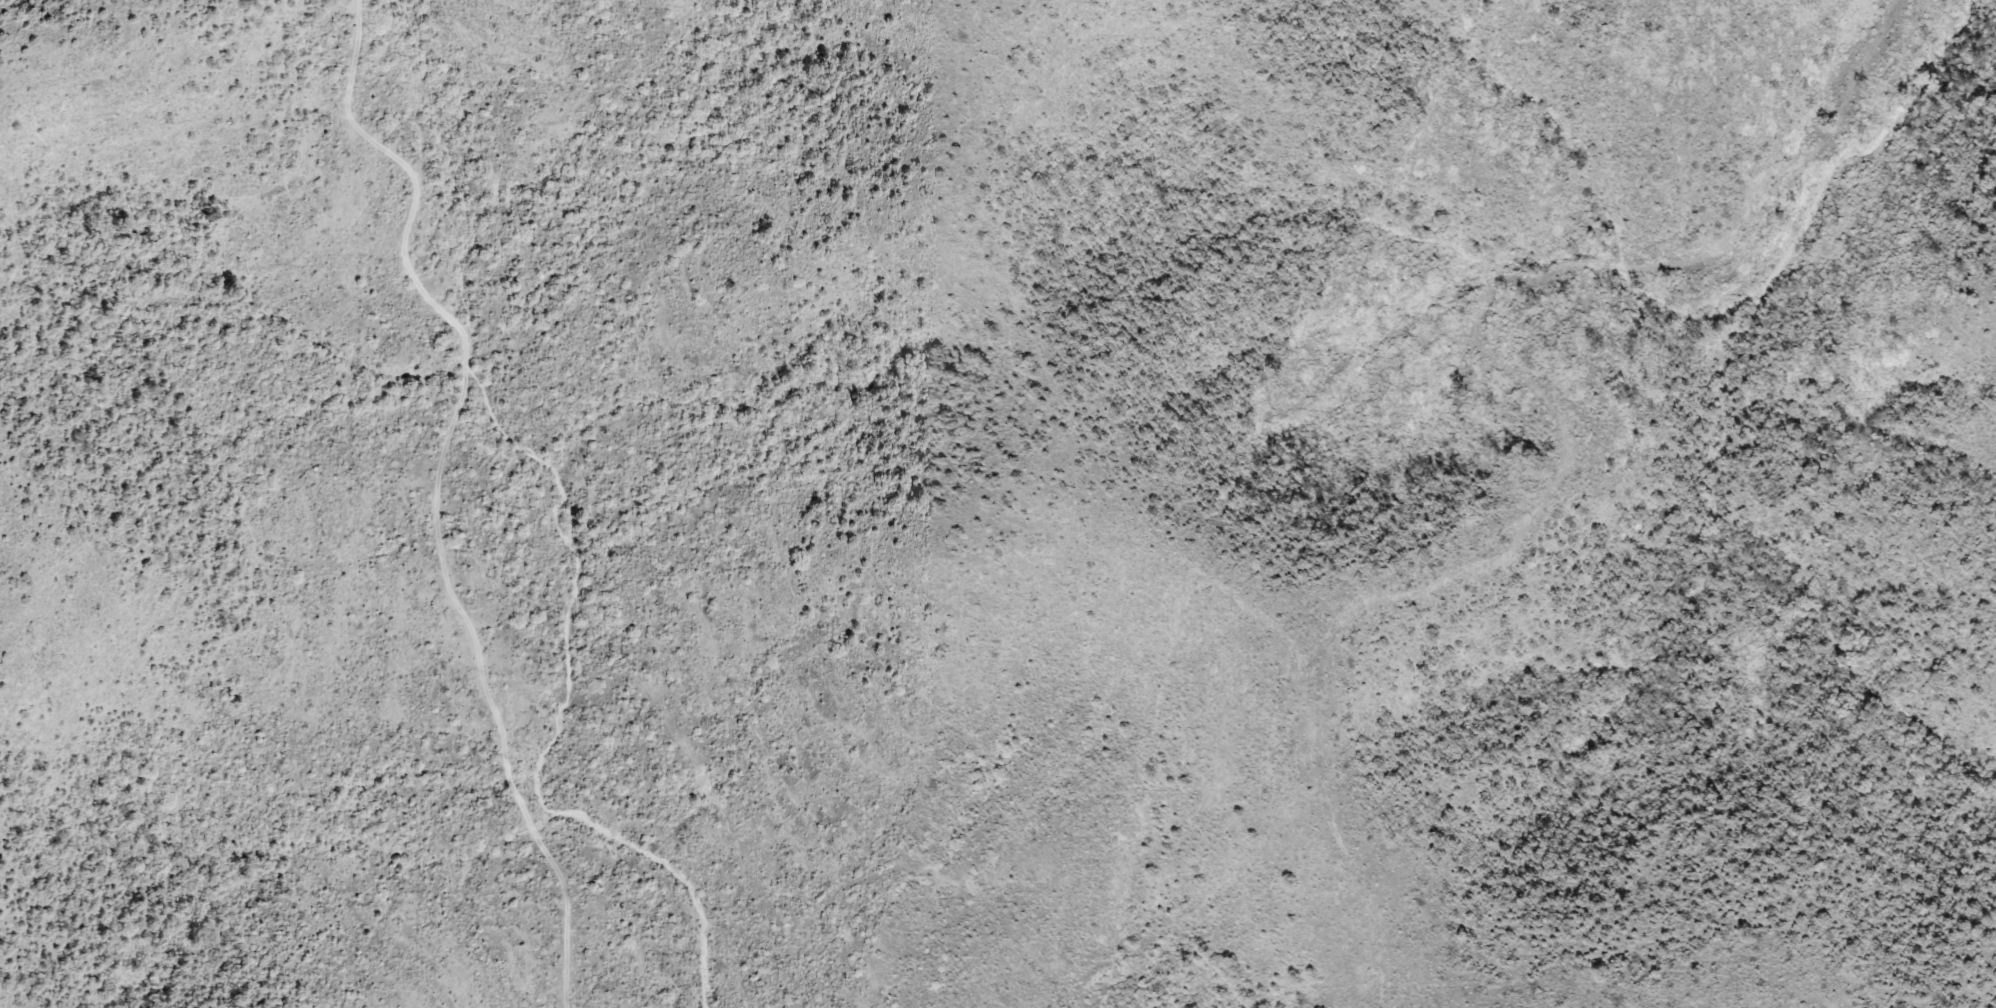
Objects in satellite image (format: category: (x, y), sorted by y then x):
road: (436, 502)

